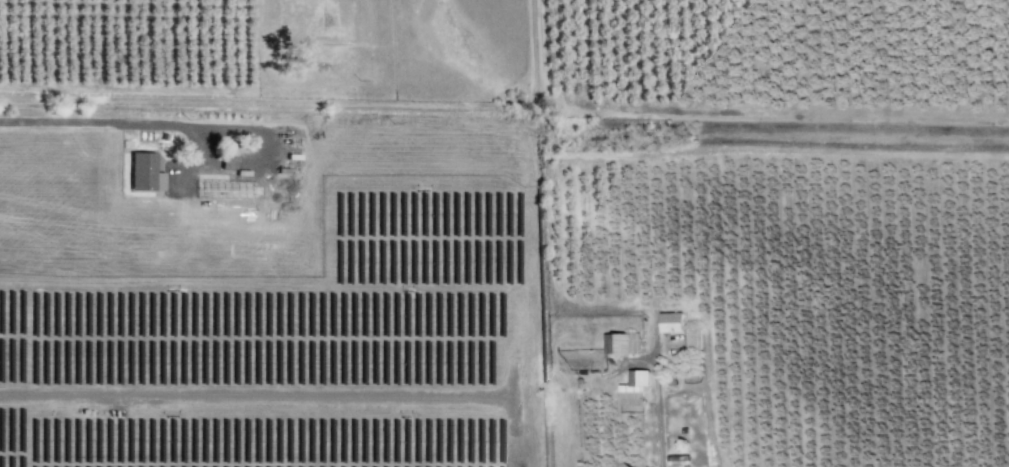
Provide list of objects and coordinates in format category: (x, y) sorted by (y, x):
road: (123, 122)
building: (226, 163)
building: (143, 172)
building: (225, 191)
building: (670, 322)
building: (692, 339)
building: (620, 343)
solar farm: (297, 346)
building: (633, 388)

